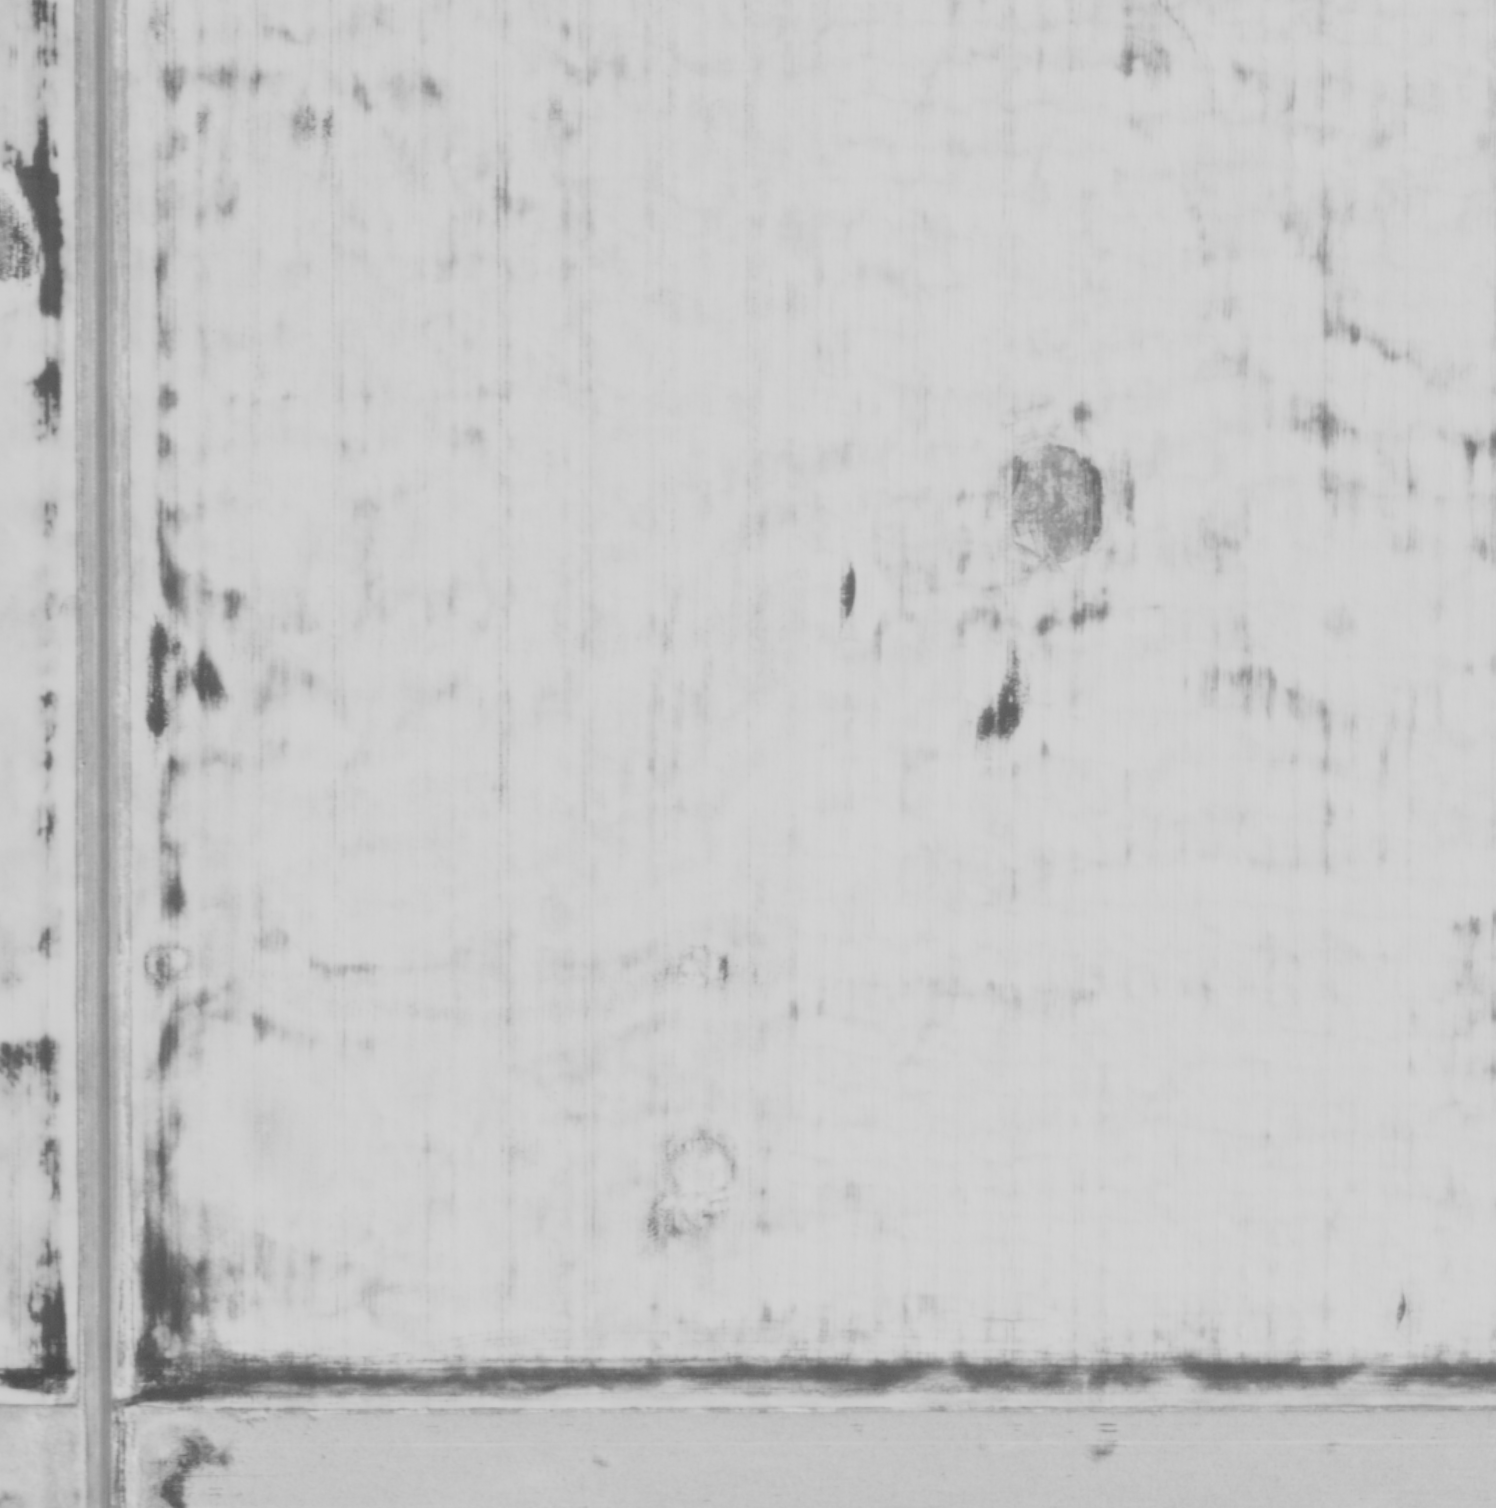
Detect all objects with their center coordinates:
road: (100, 753)

